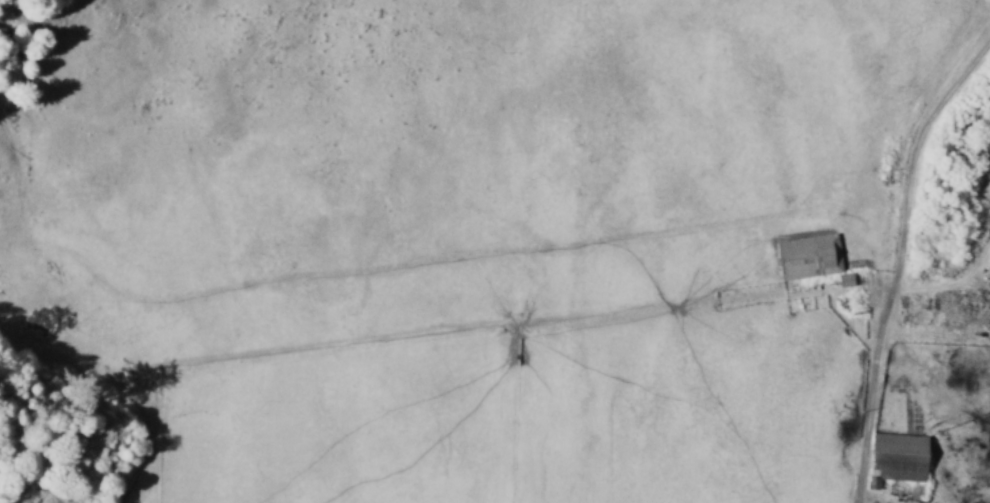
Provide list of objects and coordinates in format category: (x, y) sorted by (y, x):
building: (808, 256)
building: (844, 279)
building: (896, 457)
road: (857, 492)
building: (915, 501)

